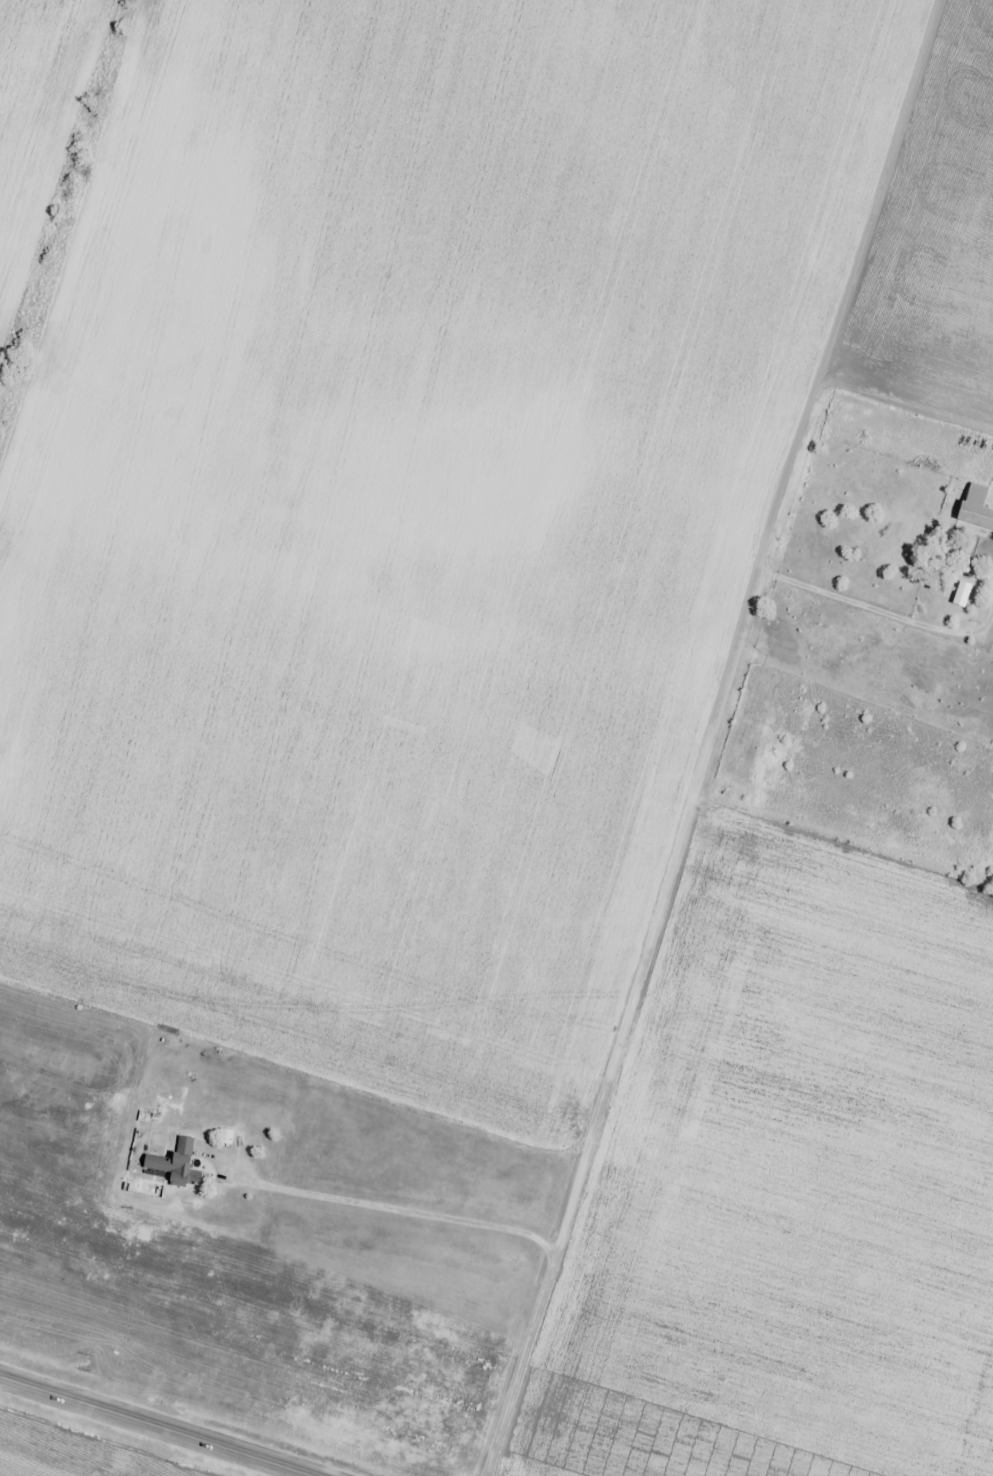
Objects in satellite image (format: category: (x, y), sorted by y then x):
road: (929, 29)
building: (973, 507)
building: (977, 553)
road: (902, 602)
road: (678, 758)
building: (170, 1165)
road: (152, 1427)

